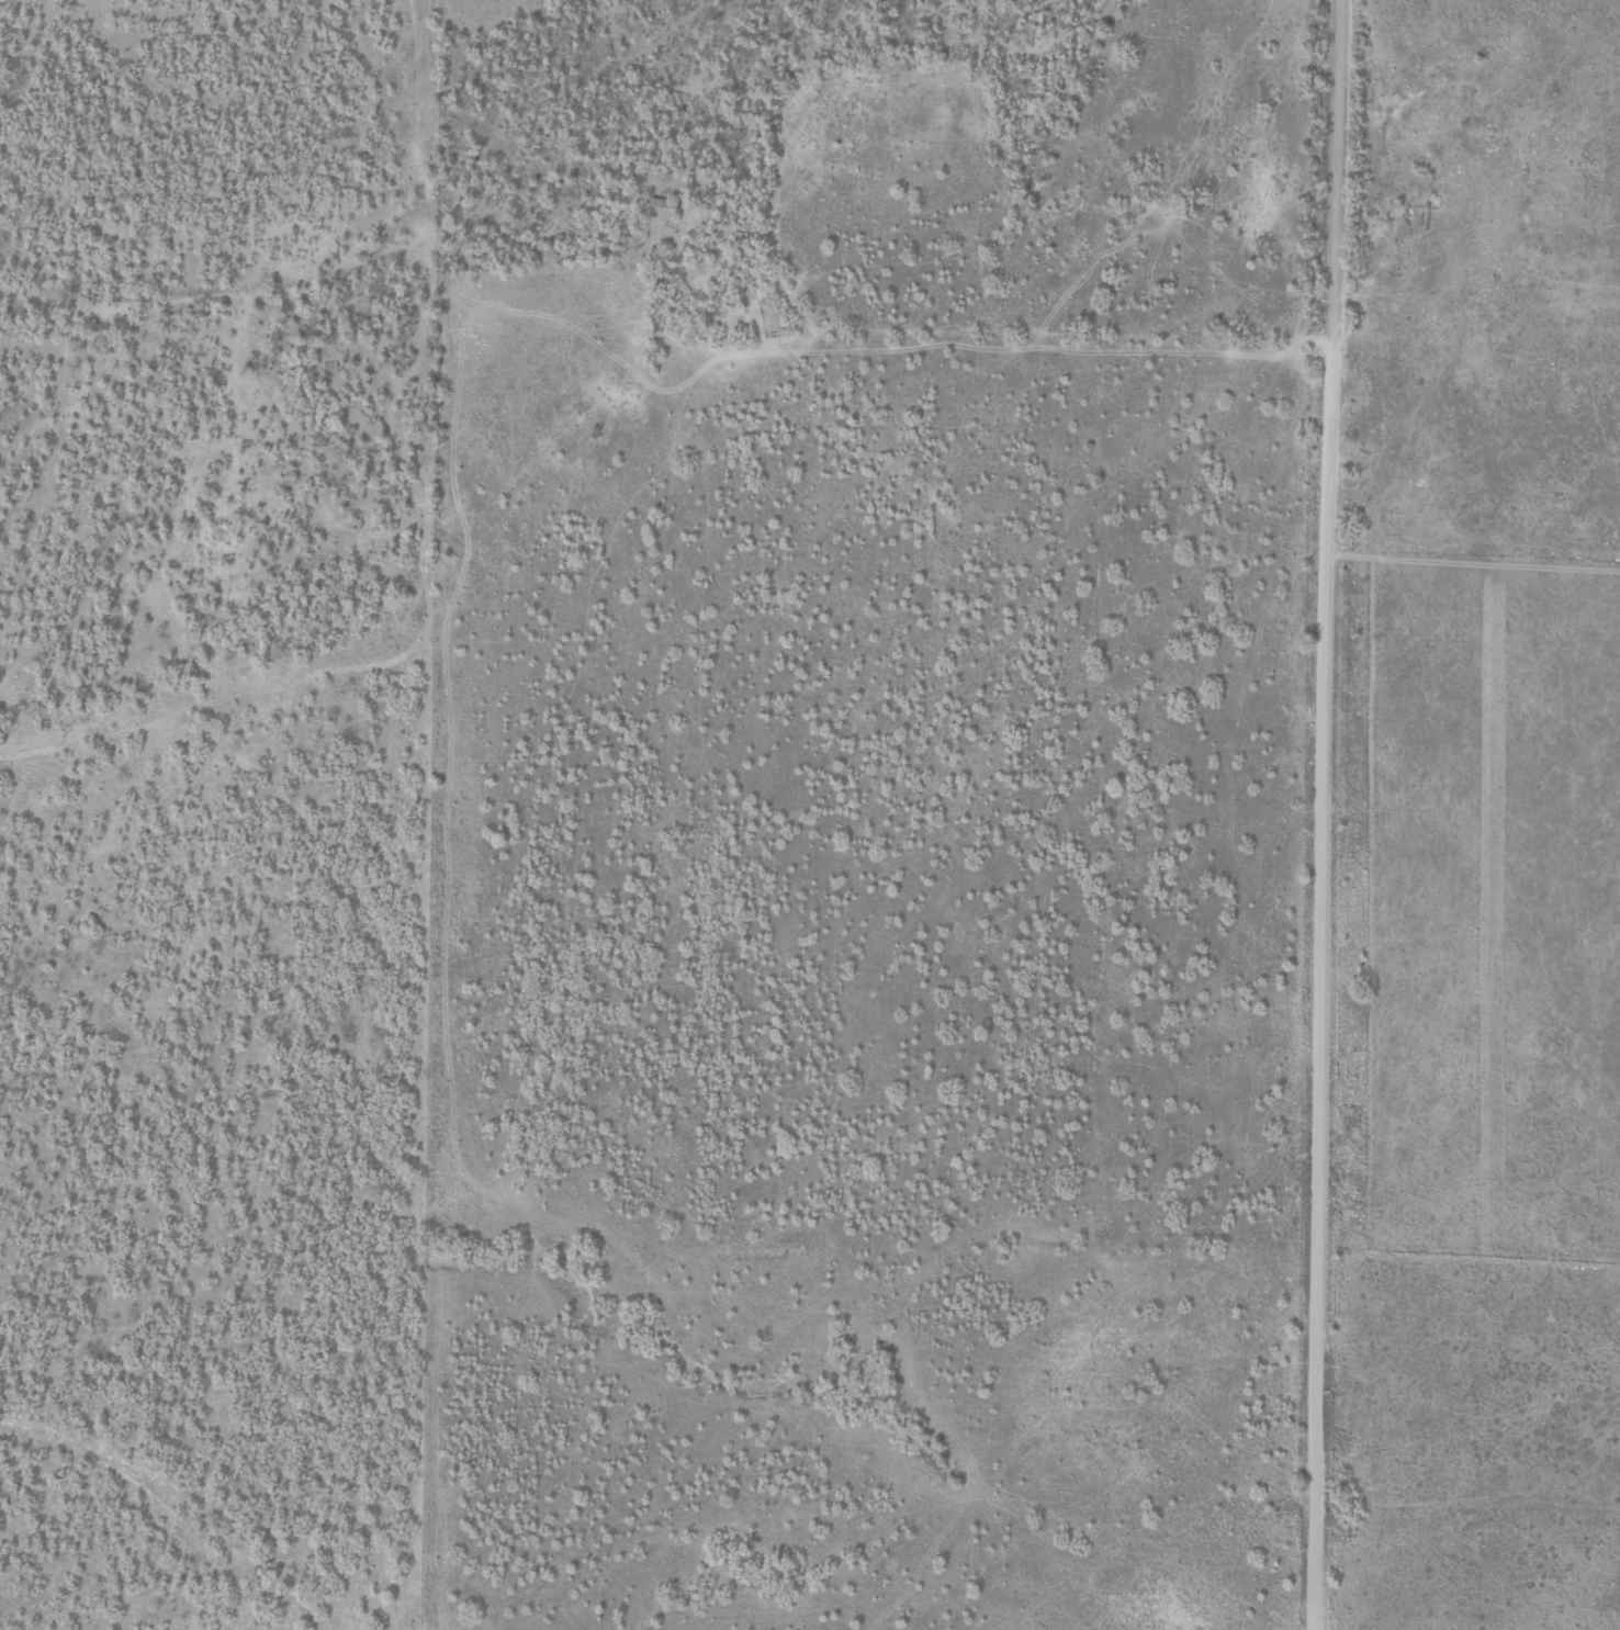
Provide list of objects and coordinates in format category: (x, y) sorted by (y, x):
road: (1065, 324)
road: (1326, 814)

